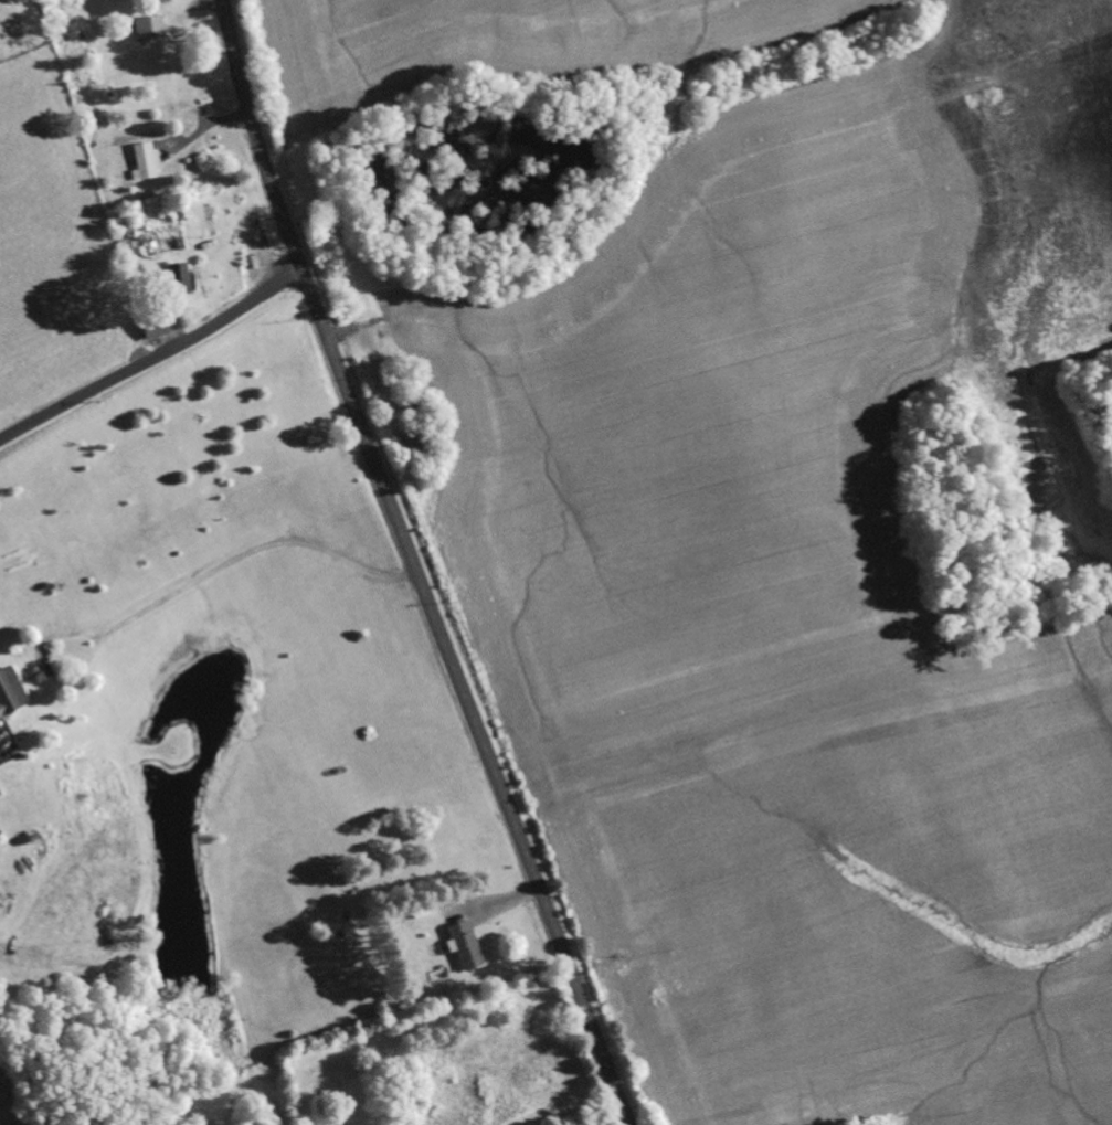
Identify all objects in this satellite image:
building: (144, 29)
building: (141, 162)
building: (176, 279)
building: (149, 328)
road: (152, 359)
building: (410, 443)
road: (413, 565)
building: (8, 693)
building: (419, 909)
building: (460, 946)
building: (760, 1108)

